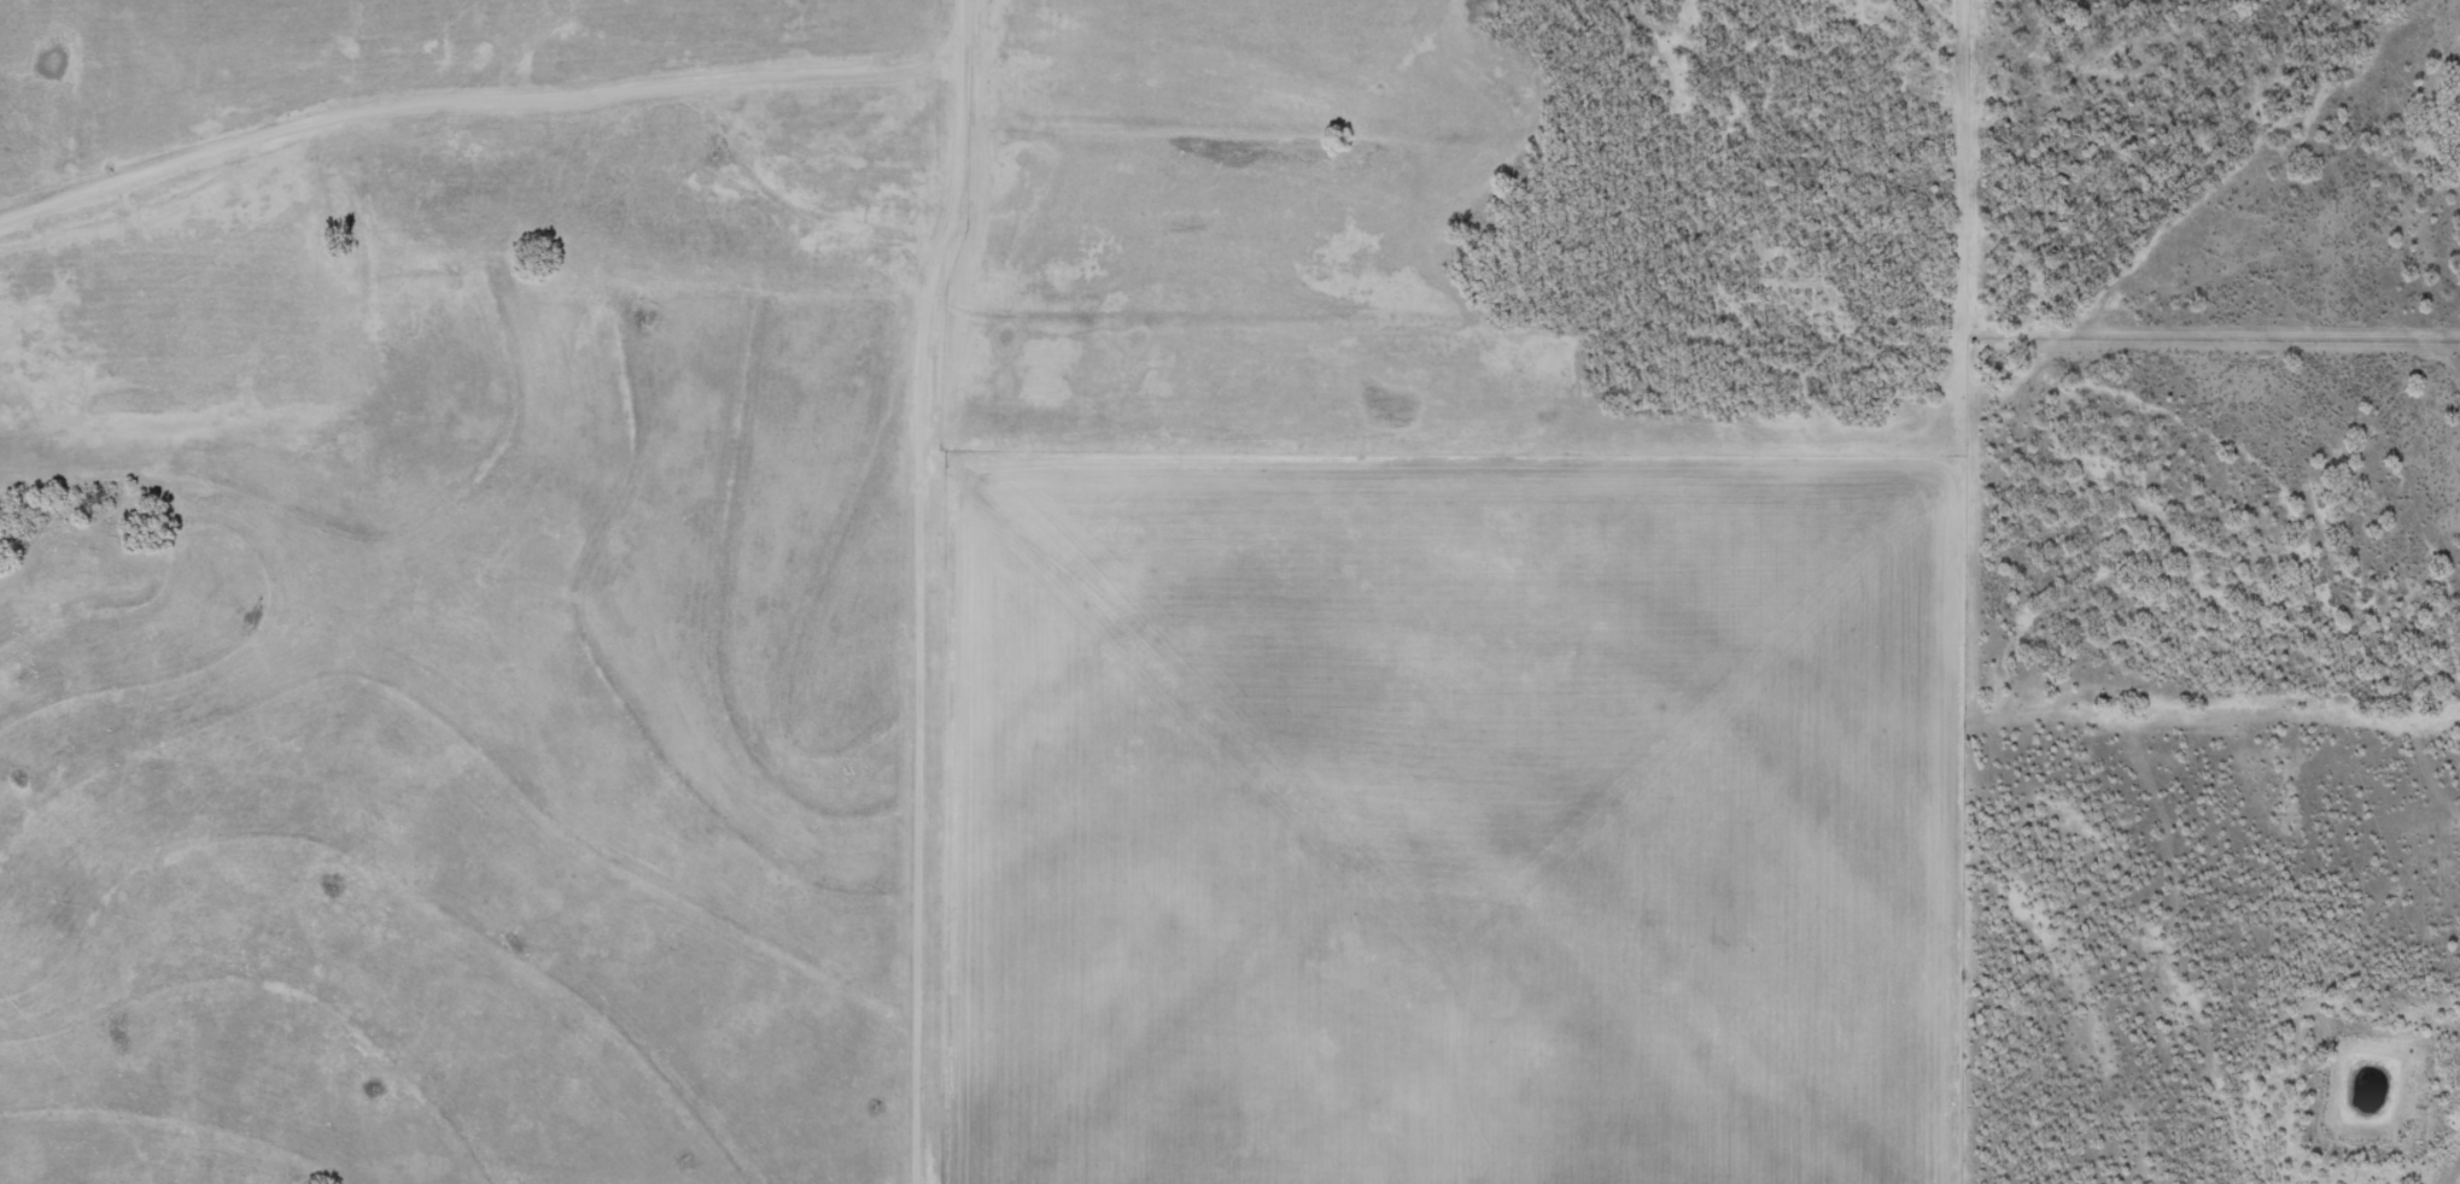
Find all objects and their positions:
road: (473, 125)
road: (964, 591)

